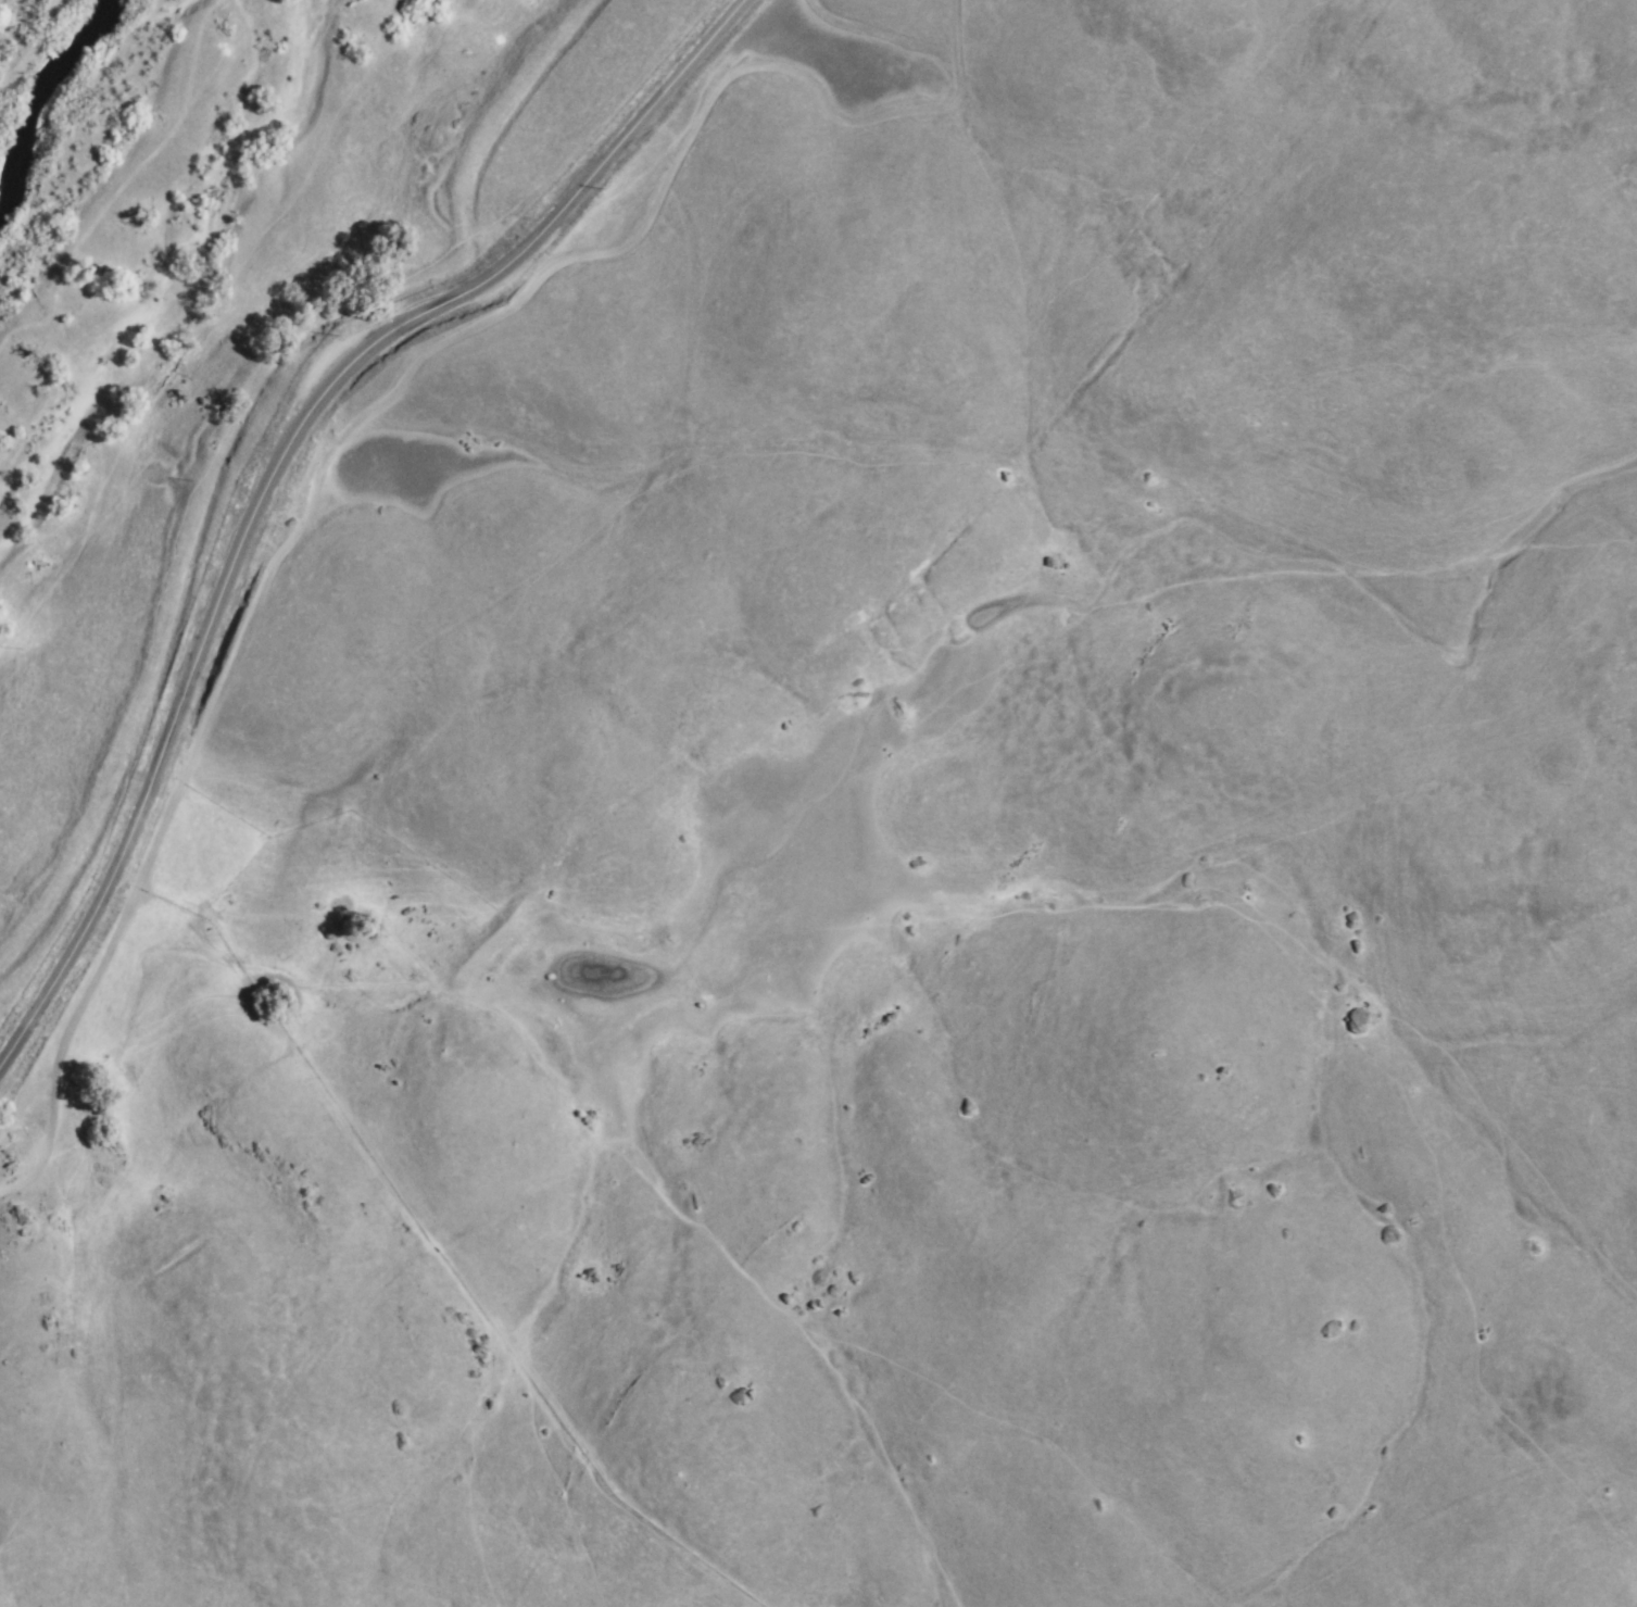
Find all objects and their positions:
river: (59, 97)
road: (276, 459)

